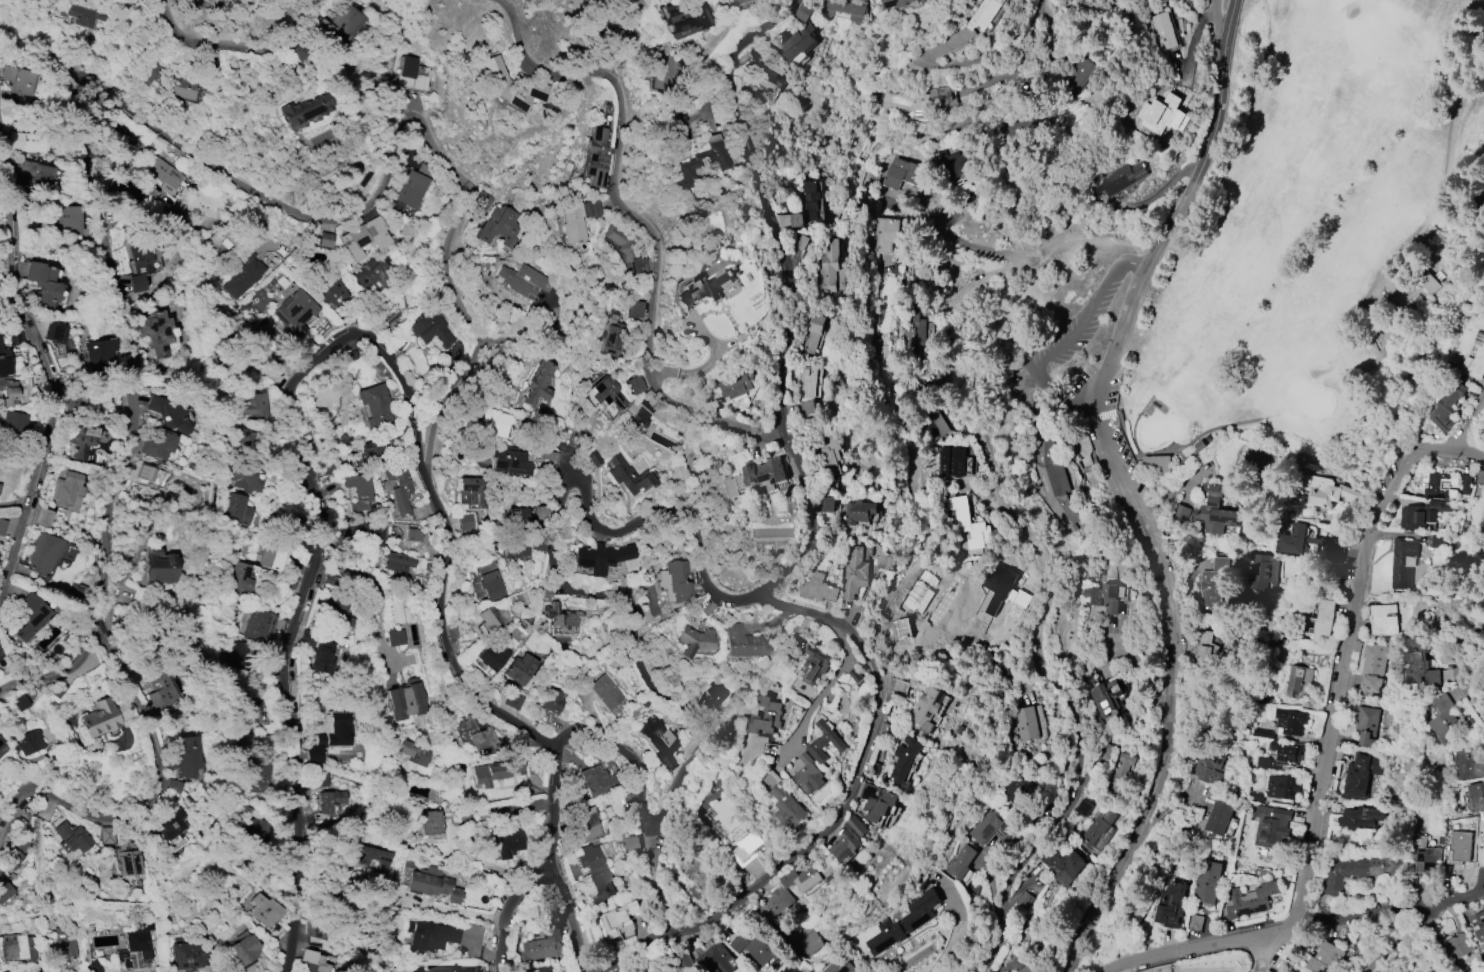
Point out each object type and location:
building: (895, 2)
park: (1336, 5)
building: (844, 10)
building: (83, 16)
building: (685, 19)
building: (338, 23)
building: (973, 23)
road: (1216, 29)
building: (1162, 31)
building: (796, 41)
road: (228, 48)
building: (414, 73)
building: (151, 74)
building: (1078, 74)
building: (770, 76)
road: (1013, 78)
building: (18, 79)
building: (496, 80)
building: (181, 87)
building: (1179, 97)
building: (918, 101)
building: (303, 108)
building: (1158, 116)
building: (1181, 120)
building: (107, 121)
building: (1023, 127)
road: (1198, 138)
building: (126, 141)
building: (35, 142)
road: (179, 142)
building: (597, 150)
building: (699, 160)
building: (959, 168)
building: (163, 173)
building: (36, 174)
building: (904, 174)
building: (1117, 179)
building: (411, 189)
building: (126, 192)
building: (203, 202)
building: (806, 205)
road: (628, 219)
building: (69, 220)
building: (497, 225)
building: (569, 226)
building: (885, 234)
park: (1304, 234)
building: (224, 236)
building: (363, 237)
road: (1083, 239)
building: (324, 240)
road: (957, 240)
building: (270, 245)
building: (626, 248)
building: (139, 262)
building: (827, 266)
building: (375, 274)
building: (244, 278)
building: (520, 279)
building: (43, 285)
building: (701, 289)
building: (1418, 290)
building: (332, 291)
building: (634, 309)
building: (294, 312)
building: (430, 327)
building: (156, 331)
building: (54, 333)
building: (812, 333)
building: (612, 334)
building: (920, 334)
road: (1069, 336)
building: (13, 338)
building: (400, 343)
road: (951, 345)
building: (99, 355)
road: (324, 356)
building: (1476, 358)
building: (3, 363)
road: (29, 379)
building: (805, 380)
building: (632, 385)
building: (536, 386)
building: (736, 386)
building: (7, 393)
building: (68, 398)
park: (1309, 398)
building: (375, 405)
building: (255, 406)
building: (1445, 406)
building: (807, 407)
building: (169, 414)
building: (11, 421)
building: (643, 421)
building: (491, 422)
road: (1469, 422)
park: (1158, 431)
building: (238, 436)
building: (79, 439)
building: (157, 443)
parking lot: (1125, 443)
building: (1197, 444)
road: (1175, 446)
building: (557, 454)
building: (831, 455)
building: (505, 459)
building: (593, 459)
building: (1257, 460)
building: (952, 461)
building: (1155, 462)
building: (1, 464)
building: (766, 472)
building: (629, 476)
building: (246, 477)
building: (1480, 478)
building: (1053, 482)
building: (1466, 484)
building: (1436, 486)
building: (399, 489)
building: (469, 490)
building: (68, 491)
building: (360, 491)
building: (1326, 492)
building: (826, 505)
building: (238, 508)
building: (860, 511)
building: (1215, 511)
building: (540, 513)
building: (1424, 513)
building: (41, 518)
building: (518, 519)
building: (467, 522)
road: (688, 523)
building: (968, 523)
building: (2, 527)
building: (365, 531)
building: (415, 535)
building: (1299, 539)
building: (1440, 542)
building: (514, 547)
building: (43, 552)
building: (274, 554)
building: (603, 558)
building: (397, 562)
building: (1403, 563)
building: (158, 567)
building: (856, 571)
building: (1253, 576)
building: (239, 577)
building: (1267, 577)
building: (490, 585)
building: (1214, 585)
building: (996, 587)
building: (817, 588)
building: (1107, 596)
building: (337, 614)
road: (1169, 616)
building: (29, 617)
building: (490, 617)
building: (1325, 618)
building: (1383, 619)
building: (563, 620)
building: (259, 626)
building: (394, 636)
building: (693, 641)
building: (743, 642)
building: (1, 649)
road: (1348, 650)
road: (43, 651)
building: (1207, 651)
building: (236, 655)
building: (324, 655)
building: (491, 655)
building: (1, 657)
road: (1456, 659)
building: (814, 663)
building: (1421, 663)
building: (1374, 666)
building: (518, 668)
building: (1298, 680)
building: (160, 690)
road: (825, 692)
building: (606, 693)
building: (714, 697)
building: (1106, 697)
building: (405, 699)
building: (553, 701)
building: (20, 703)
building: (925, 710)
building: (247, 712)
road: (1072, 713)
building: (767, 717)
building: (97, 718)
building: (1447, 720)
building: (1030, 722)
building: (1285, 724)
building: (1365, 725)
building: (338, 729)
building: (478, 731)
building: (661, 741)
building: (27, 742)
building: (825, 742)
building: (0, 743)
building: (1104, 751)
building: (414, 754)
building: (315, 755)
building: (1281, 756)
building: (185, 757)
building: (1470, 761)
building: (903, 763)
building: (457, 767)
building: (1209, 767)
building: (495, 771)
building: (1120, 774)
building: (1360, 774)
building: (808, 775)
building: (257, 777)
building: (319, 778)
building: (596, 779)
building: (174, 786)
building: (1282, 786)
building: (1020, 788)
building: (1477, 796)
road: (145, 799)
building: (335, 800)
building: (876, 801)
building: (784, 802)
building: (1084, 808)
road: (833, 812)
building: (1361, 817)
building: (1218, 818)
building: (427, 824)
building: (586, 824)
building: (1098, 825)
building: (1271, 825)
building: (169, 828)
building: (990, 828)
building: (252, 831)
building: (736, 832)
building: (72, 836)
building: (105, 836)
building: (849, 838)
building: (509, 843)
building: (634, 843)
building: (1458, 847)
building: (16, 849)
building: (1425, 855)
building: (369, 856)
building: (590, 858)
building: (126, 859)
building: (960, 863)
building: (1061, 864)
building: (1359, 871)
building: (803, 878)
building: (699, 881)
building: (1207, 881)
building: (432, 884)
road: (656, 884)
building: (601, 885)
building: (4, 889)
building: (1024, 900)
building: (1250, 900)
building: (778, 903)
building: (1171, 904)
road: (504, 905)
road: (1417, 906)
road: (436, 907)
building: (261, 910)
road: (571, 916)
building: (622, 918)
building: (905, 922)
building: (1478, 925)
building: (314, 930)
road: (957, 934)
building: (430, 935)
building: (805, 940)
building: (63, 943)
building: (544, 944)
building: (1459, 945)
road: (1195, 946)
building: (17, 947)
building: (239, 948)
building: (763, 948)
road: (1278, 949)
building: (132, 950)
building: (184, 954)
building: (1327, 957)
building: (716, 960)
building: (686, 964)
building: (313, 965)
building: (840, 965)
building: (93, 966)
building: (539, 969)
building: (1027, 969)
building: (394, 970)
building: (449, 970)
building: (806, 971)
building: (1435, 971)

